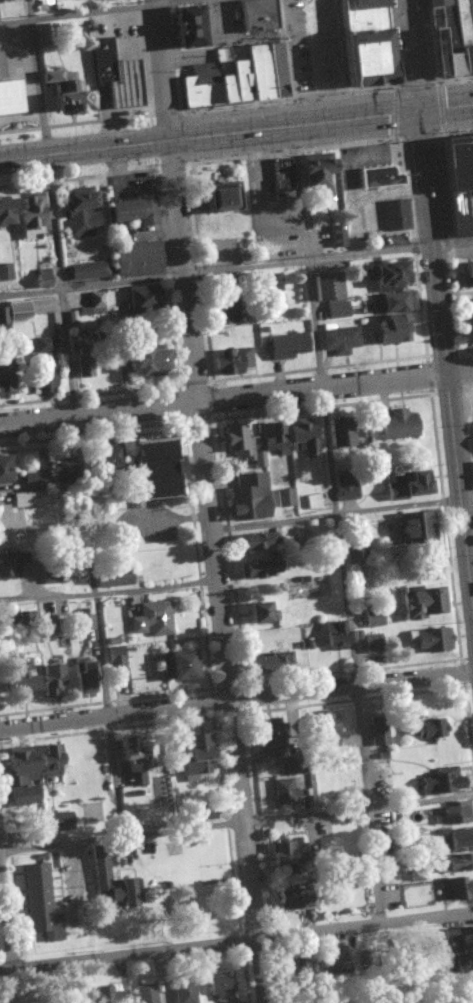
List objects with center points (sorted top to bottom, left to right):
road: (89, 11)
building: (184, 27)
building: (448, 37)
building: (359, 43)
road: (410, 55)
road: (164, 69)
building: (114, 76)
building: (234, 77)
building: (64, 92)
building: (11, 98)
road: (322, 122)
road: (86, 150)
building: (301, 177)
building: (378, 177)
building: (456, 180)
building: (218, 198)
building: (80, 212)
building: (132, 212)
building: (5, 213)
building: (30, 215)
building: (395, 215)
building: (336, 236)
building: (135, 259)
road: (236, 268)
building: (88, 271)
building: (5, 272)
building: (387, 274)
building: (466, 275)
building: (42, 278)
building: (273, 282)
building: (329, 296)
building: (144, 299)
building: (393, 302)
building: (103, 307)
building: (15, 313)
building: (223, 313)
building: (76, 319)
building: (469, 325)
building: (390, 329)
building: (339, 341)
road: (445, 343)
building: (286, 346)
building: (233, 361)
building: (142, 362)
building: (43, 366)
building: (84, 367)
building: (5, 380)
road: (335, 382)
road: (99, 411)
road: (76, 418)
building: (399, 426)
building: (337, 433)
building: (303, 436)
building: (275, 439)
building: (242, 446)
building: (103, 456)
road: (330, 461)
building: (4, 470)
building: (147, 471)
building: (61, 472)
building: (33, 481)
building: (406, 487)
building: (346, 488)
building: (247, 497)
building: (285, 498)
building: (30, 499)
building: (314, 502)
road: (343, 512)
building: (10, 522)
building: (413, 529)
building: (256, 541)
building: (357, 552)
building: (9, 565)
building: (260, 569)
road: (218, 571)
building: (49, 577)
building: (113, 579)
road: (110, 592)
building: (423, 604)
building: (260, 614)
building: (153, 620)
building: (373, 620)
building: (86, 623)
building: (334, 635)
building: (433, 641)
building: (371, 643)
building: (116, 661)
building: (265, 664)
building: (175, 667)
building: (80, 678)
building: (20, 679)
building: (49, 682)
road: (353, 686)
road: (116, 712)
building: (324, 731)
building: (426, 731)
building: (378, 735)
building: (265, 738)
building: (195, 757)
building: (50, 761)
building: (130, 762)
building: (18, 778)
building: (440, 783)
building: (284, 790)
building: (93, 813)
building: (206, 813)
building: (453, 814)
road: (236, 821)
building: (61, 822)
building: (456, 839)
building: (287, 857)
building: (454, 864)
building: (109, 886)
building: (457, 890)
building: (286, 901)
building: (41, 904)
road: (5, 905)
road: (366, 927)
road: (130, 955)
building: (336, 958)
building: (463, 965)
building: (300, 967)
building: (219, 984)
building: (146, 991)
building: (183, 991)
building: (107, 993)

